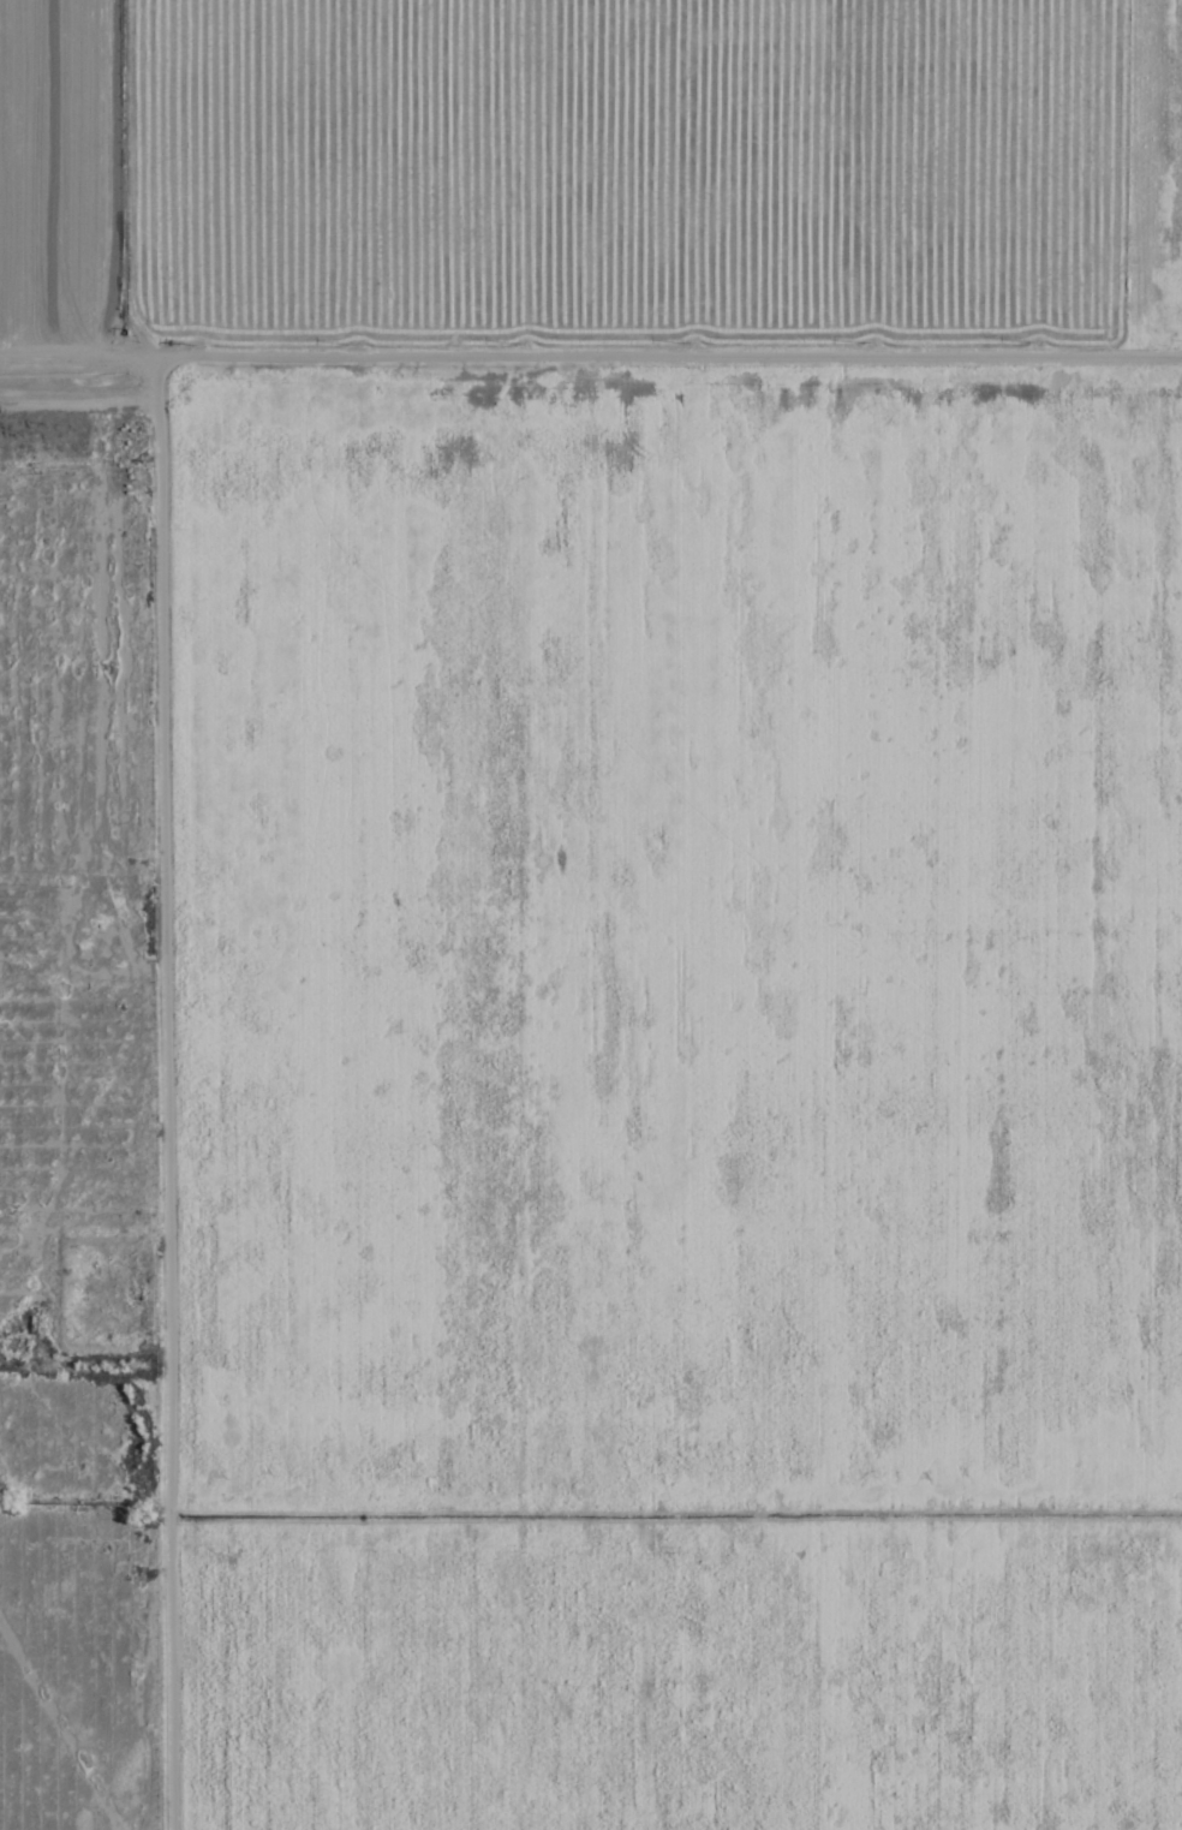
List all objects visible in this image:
road: (590, 357)
road: (161, 874)
crop: (650, 892)
road: (85, 1385)
road: (172, 1608)

